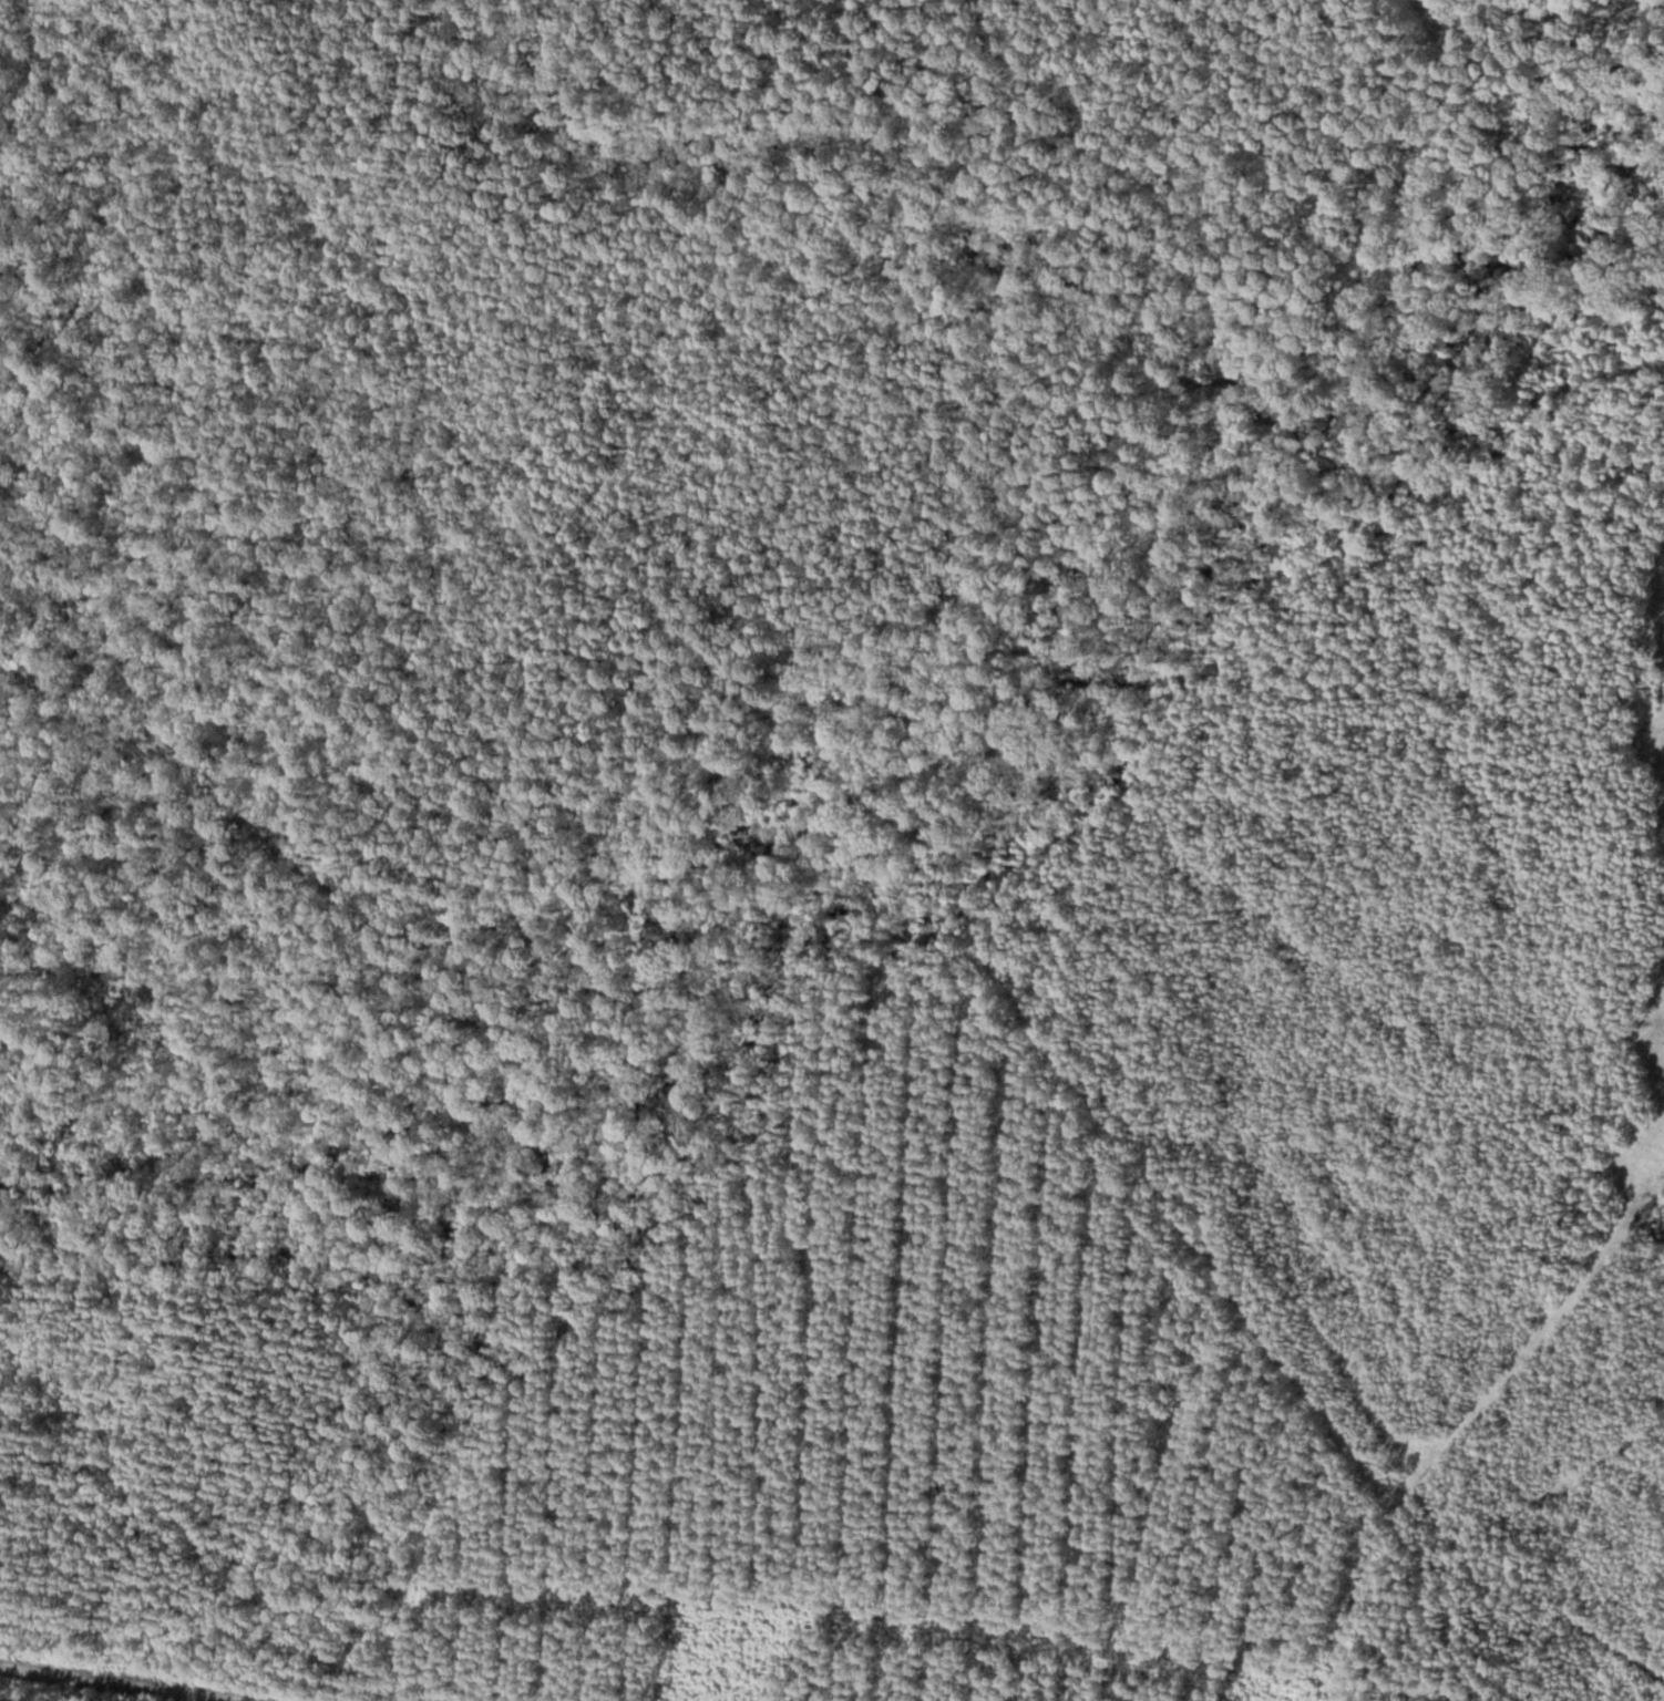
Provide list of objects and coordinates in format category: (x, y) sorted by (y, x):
road: (109, 1682)

